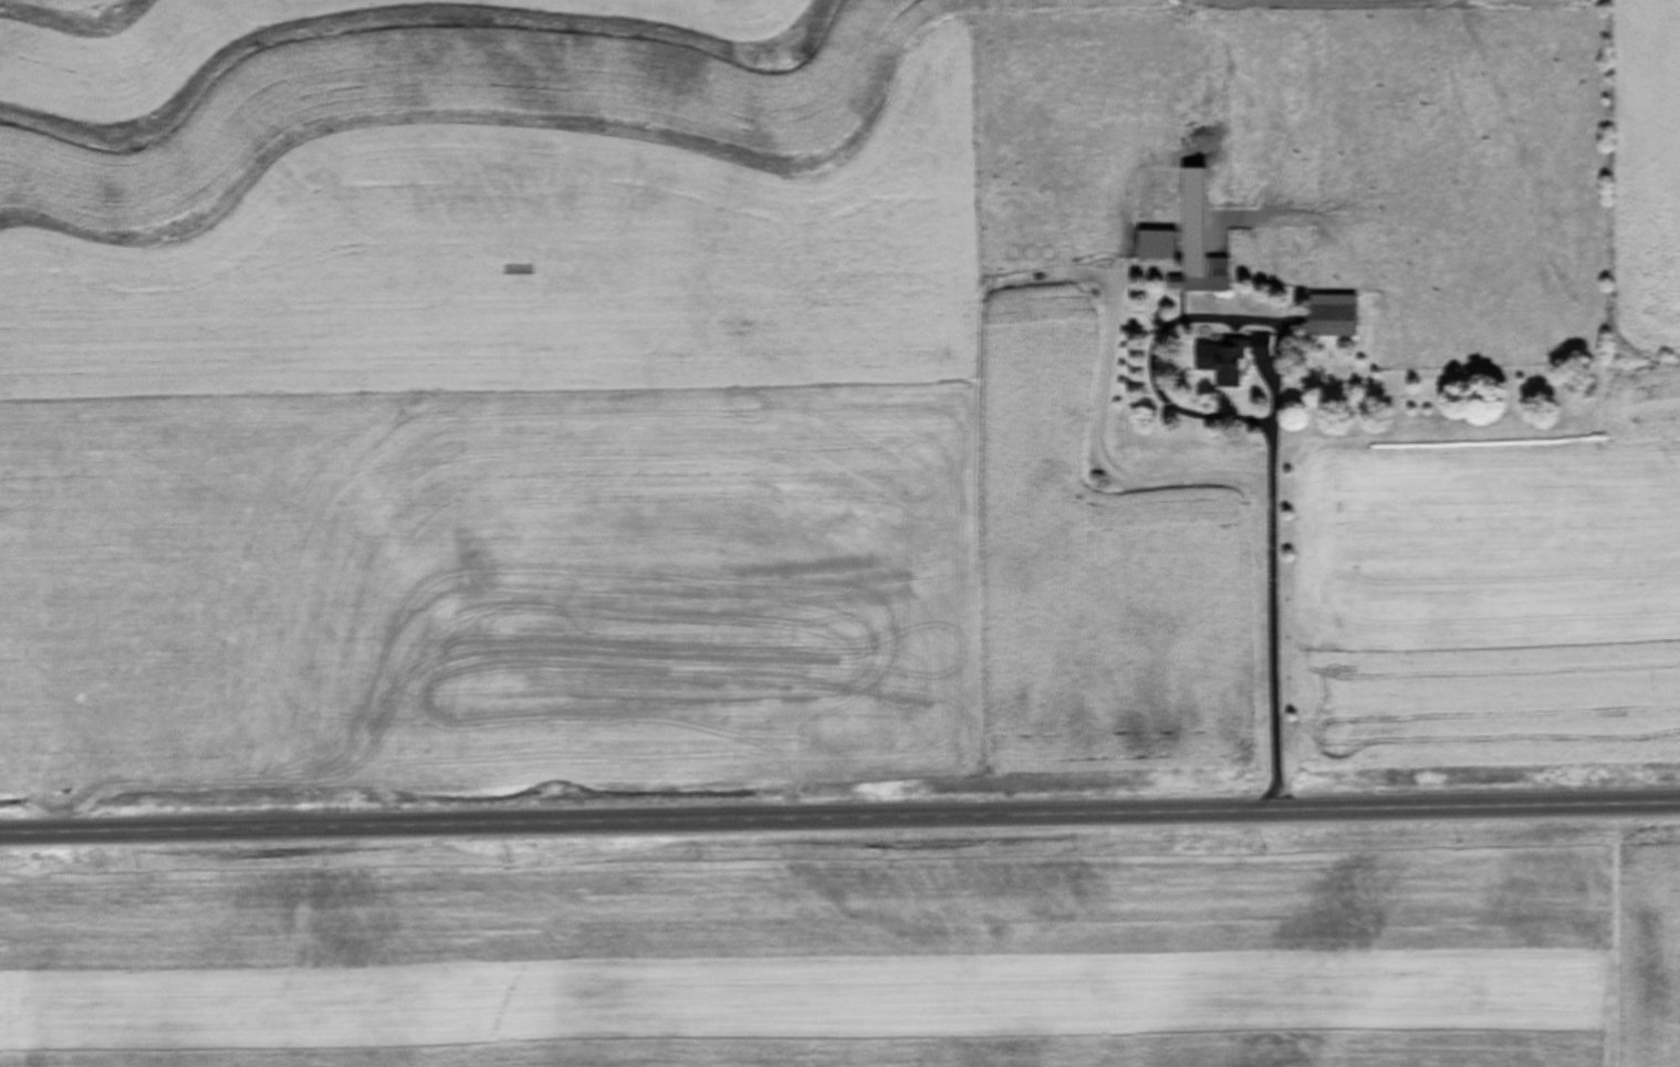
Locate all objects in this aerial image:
building: (1200, 276)
building: (1331, 321)
building: (1227, 358)
road: (1276, 588)
road: (839, 820)

